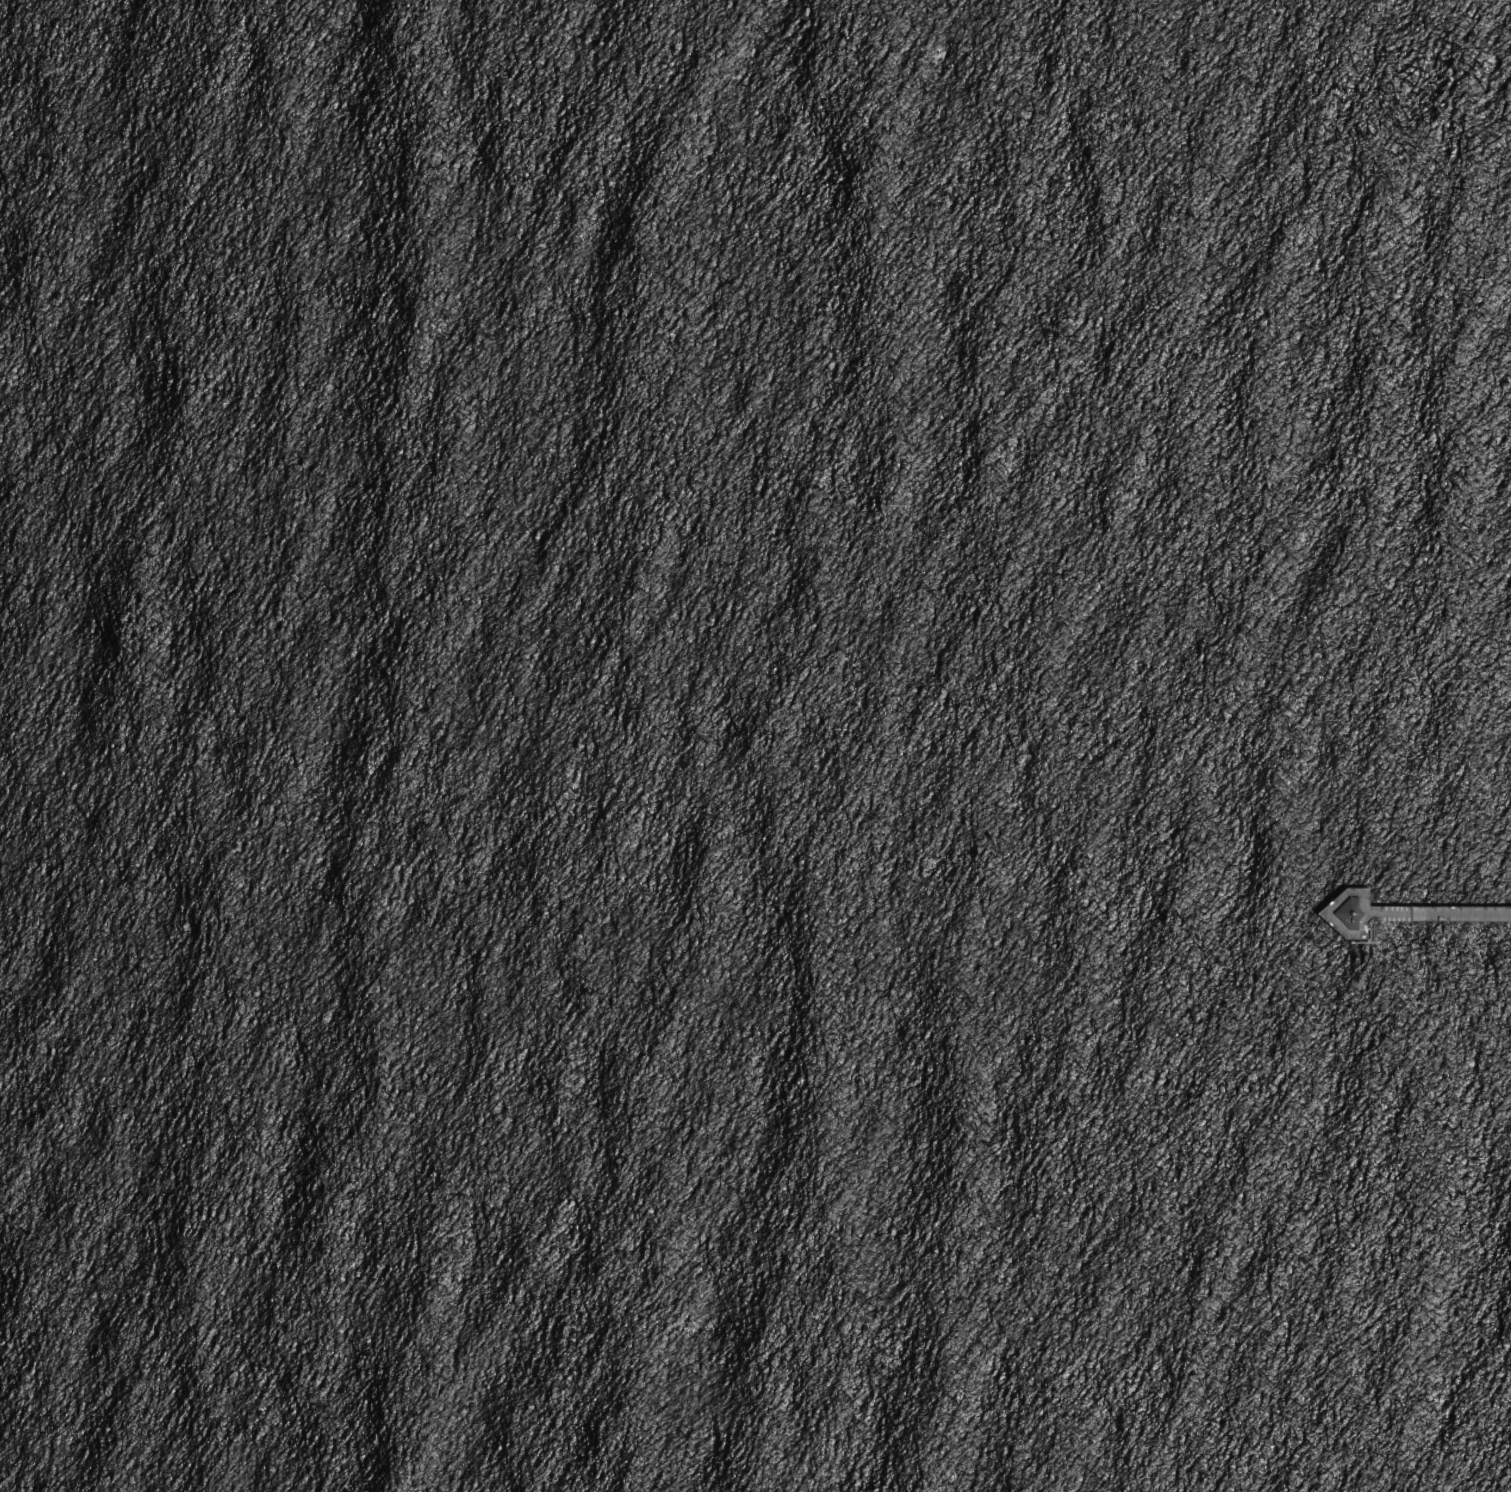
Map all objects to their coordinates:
road: (1316, 913)
building: (1348, 914)
road: (1440, 915)

